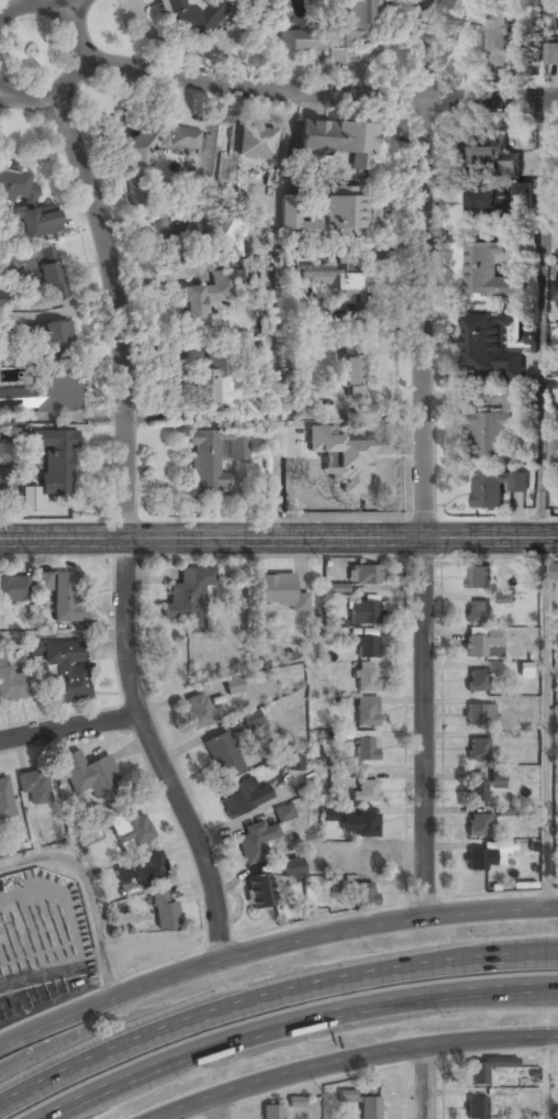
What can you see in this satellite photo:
road: (13, 3)
road: (75, 9)
building: (191, 13)
building: (331, 31)
building: (498, 35)
road: (545, 48)
building: (553, 49)
road: (81, 52)
building: (522, 54)
road: (317, 95)
building: (159, 137)
building: (339, 141)
building: (246, 147)
building: (489, 151)
building: (16, 186)
building: (133, 188)
building: (502, 198)
building: (323, 213)
building: (38, 220)
building: (182, 226)
building: (486, 272)
building: (38, 273)
building: (336, 279)
building: (555, 291)
building: (202, 300)
road: (278, 313)
road: (545, 314)
building: (52, 339)
building: (490, 346)
building: (554, 366)
building: (353, 372)
building: (208, 388)
building: (44, 397)
building: (302, 401)
building: (495, 429)
building: (553, 451)
road: (424, 458)
building: (53, 459)
building: (212, 459)
building: (360, 468)
building: (7, 479)
building: (495, 487)
road: (126, 531)
road: (279, 535)
building: (555, 573)
building: (365, 575)
building: (478, 578)
building: (13, 589)
building: (279, 594)
building: (63, 597)
building: (188, 599)
building: (477, 612)
building: (364, 613)
road: (64, 634)
building: (483, 643)
building: (366, 647)
building: (67, 673)
building: (365, 677)
building: (478, 680)
building: (13, 686)
building: (233, 687)
building: (196, 712)
building: (366, 712)
building: (478, 716)
building: (252, 720)
road: (545, 721)
road: (68, 725)
building: (365, 745)
building: (478, 750)
building: (223, 755)
building: (294, 762)
building: (88, 775)
building: (34, 787)
building: (475, 790)
building: (365, 791)
building: (556, 798)
building: (242, 799)
building: (4, 801)
building: (505, 811)
building: (284, 812)
building: (328, 813)
building: (360, 823)
building: (479, 826)
building: (130, 830)
building: (252, 842)
building: (357, 854)
building: (479, 860)
building: (293, 868)
building: (143, 871)
road: (90, 890)
building: (260, 893)
building: (366, 894)
building: (165, 913)
road: (271, 948)
road: (551, 953)
road: (546, 989)
road: (270, 996)
road: (290, 1023)
road: (351, 1057)
building: (486, 1070)
road: (548, 1077)
road: (425, 1082)
building: (347, 1098)
building: (295, 1101)
road: (219, 1107)
building: (369, 1108)
building: (476, 1108)
building: (271, 1112)
building: (555, 1112)

